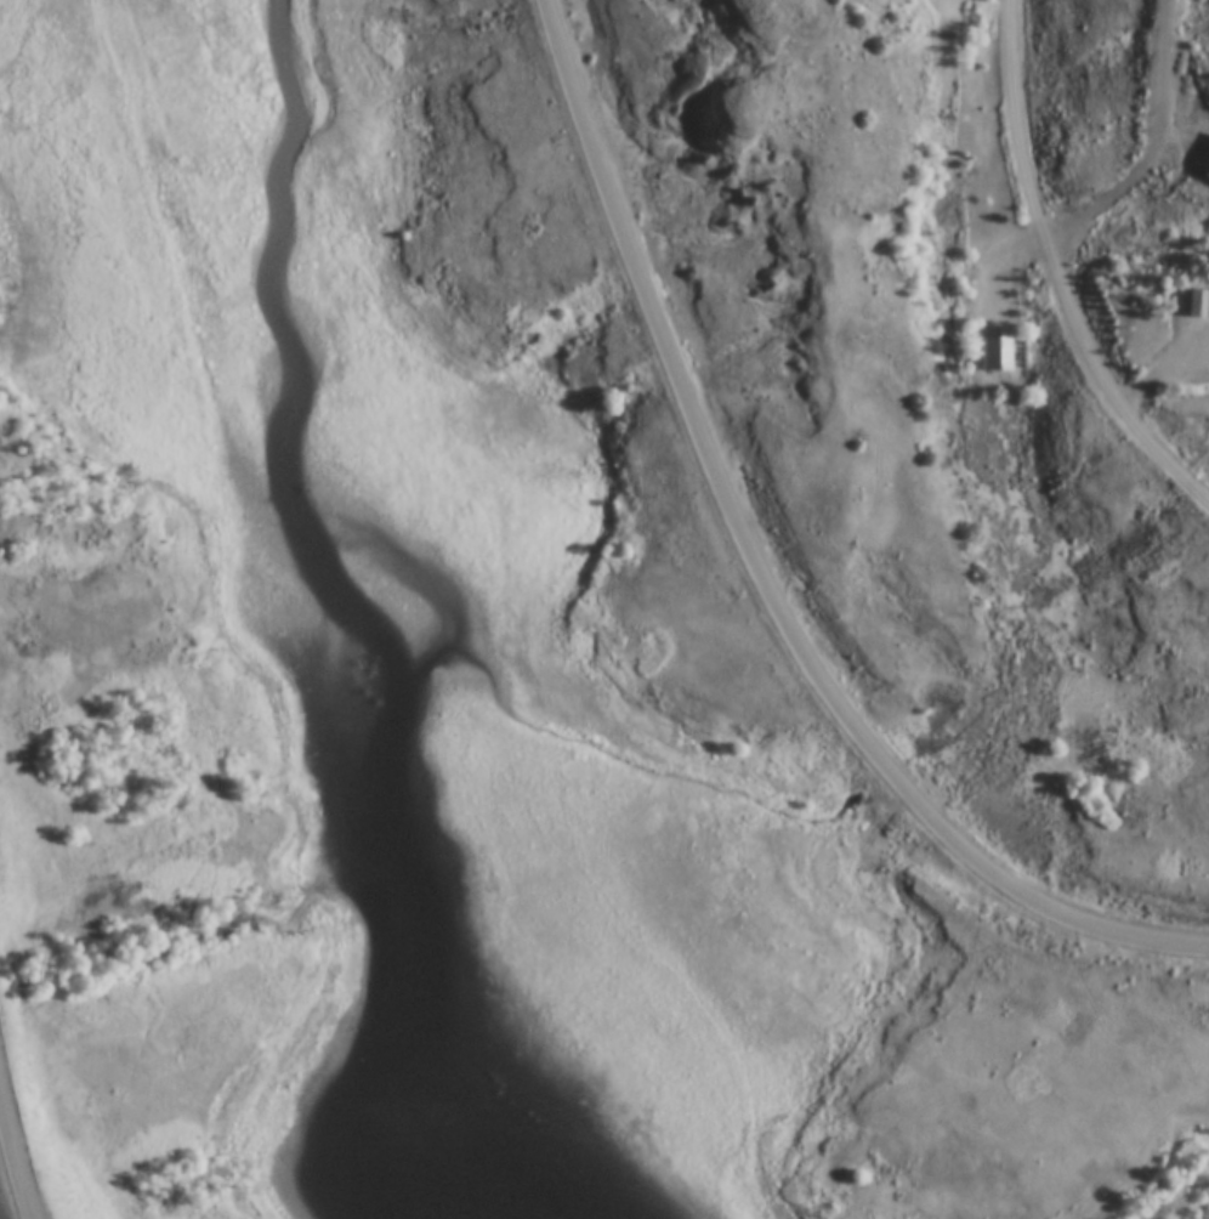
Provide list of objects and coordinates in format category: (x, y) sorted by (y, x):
road: (1148, 154)
building: (1205, 165)
road: (1048, 276)
building: (1193, 305)
building: (992, 353)
road: (760, 574)
road: (13, 1155)

